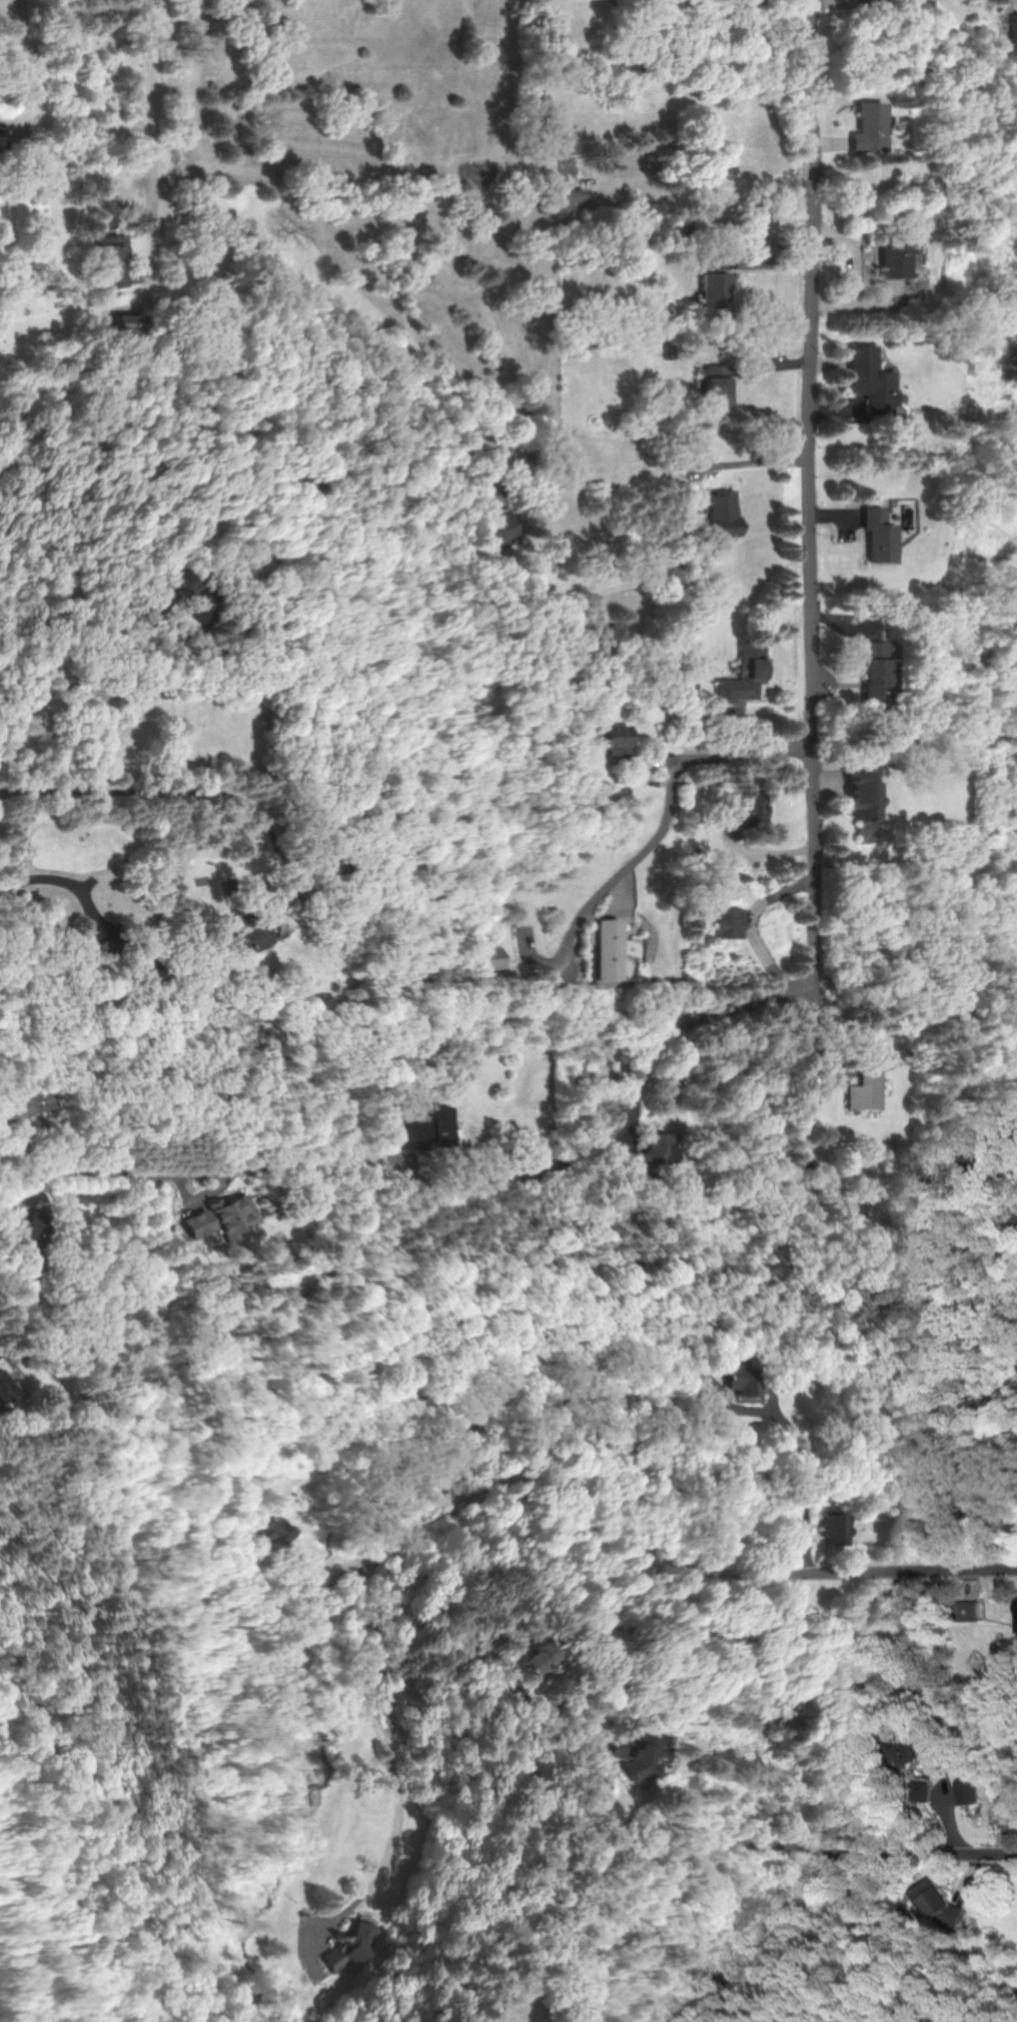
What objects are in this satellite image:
road: (26, 64)
road: (159, 99)
building: (869, 127)
building: (563, 200)
building: (894, 261)
building: (110, 262)
building: (716, 284)
road: (334, 320)
building: (129, 324)
building: (871, 378)
building: (718, 385)
road: (758, 463)
road: (819, 488)
building: (726, 514)
building: (498, 530)
building: (879, 535)
building: (747, 674)
building: (877, 674)
road: (95, 683)
building: (621, 747)
road: (160, 793)
building: (861, 795)
building: (608, 806)
building: (744, 810)
road: (76, 889)
building: (732, 922)
building: (246, 934)
building: (492, 951)
building: (144, 970)
road: (462, 1038)
road: (671, 1066)
building: (868, 1087)
building: (29, 1102)
building: (427, 1128)
building: (657, 1154)
road: (272, 1171)
building: (220, 1218)
building: (24, 1238)
building: (749, 1378)
building: (5, 1389)
building: (708, 1389)
road: (509, 1484)
road: (809, 1485)
building: (831, 1527)
building: (282, 1528)
building: (206, 1579)
building: (774, 1594)
building: (966, 1609)
building: (1016, 1626)
building: (527, 1656)
building: (631, 1748)
building: (904, 1755)
road: (878, 1853)
building: (936, 1905)
building: (353, 1942)

